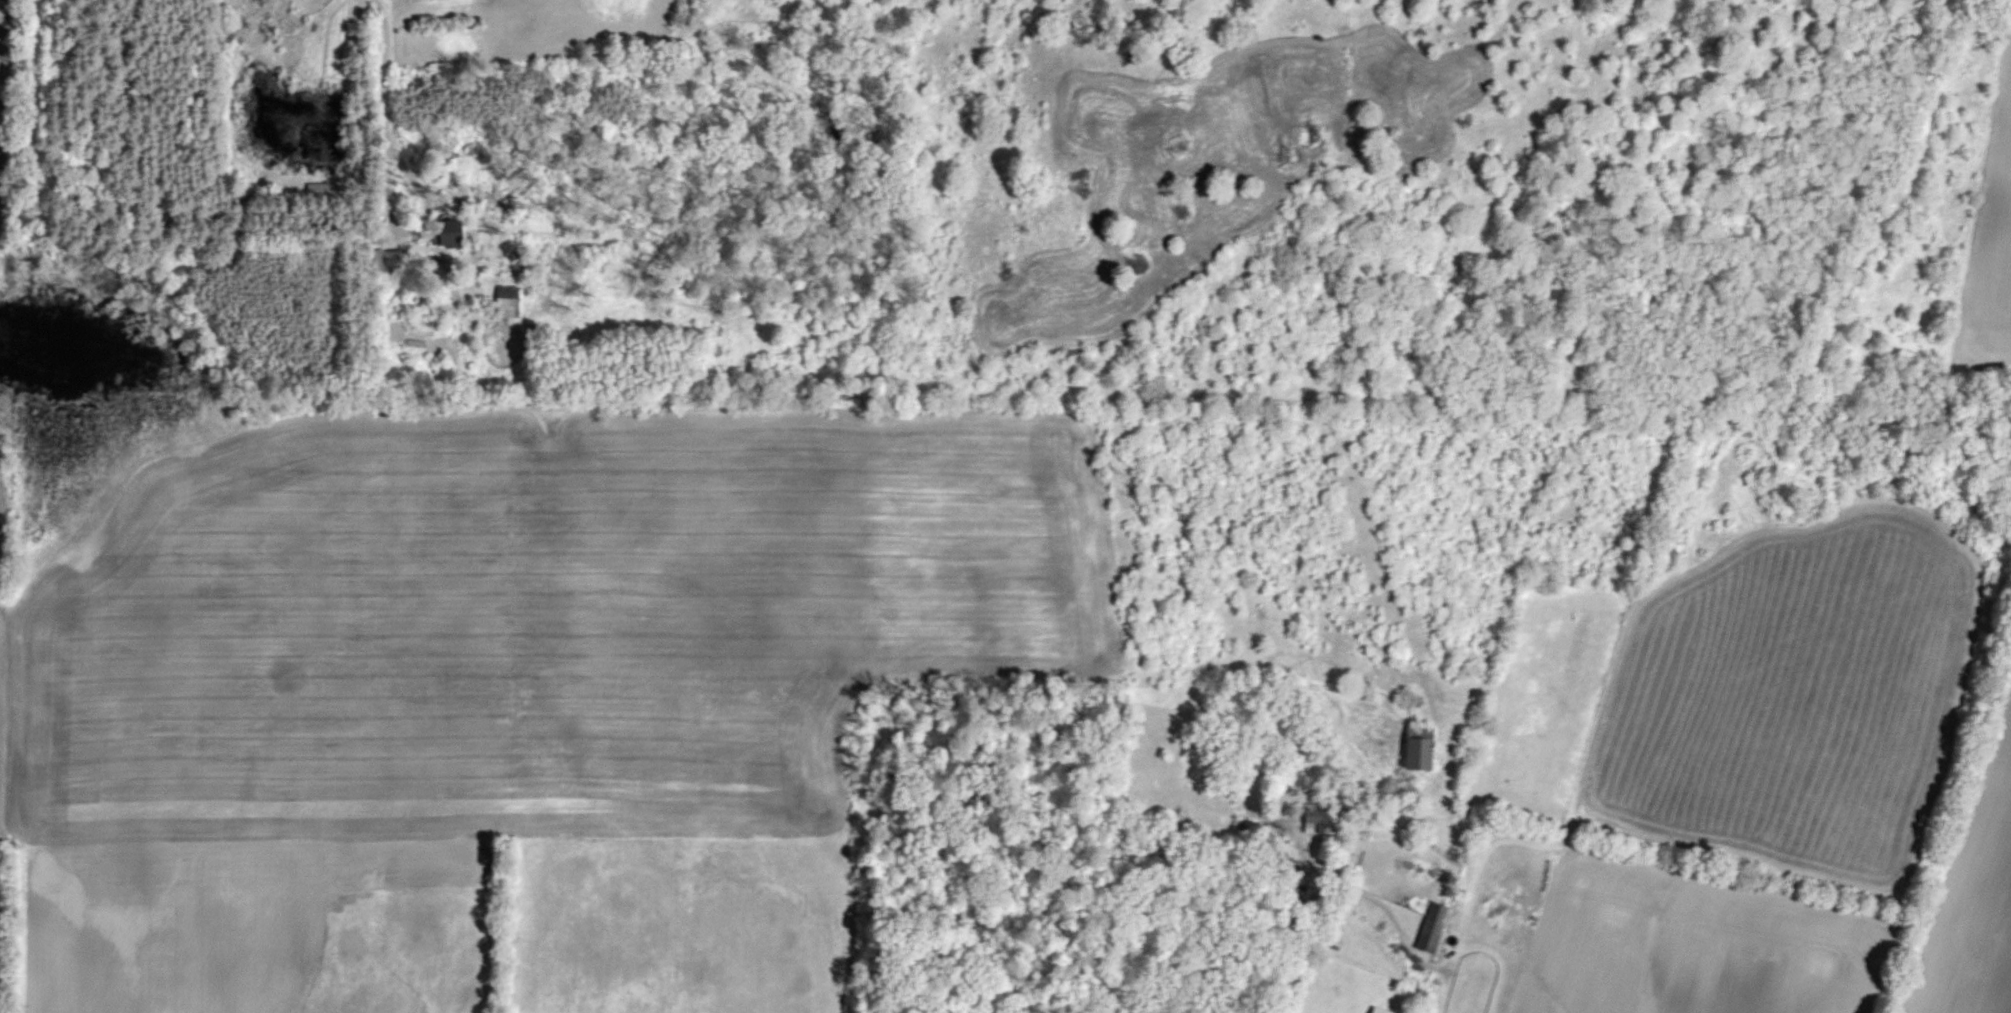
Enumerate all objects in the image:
road: (385, 100)
building: (1414, 750)
building: (1315, 822)
building: (1430, 929)
road: (1297, 945)

